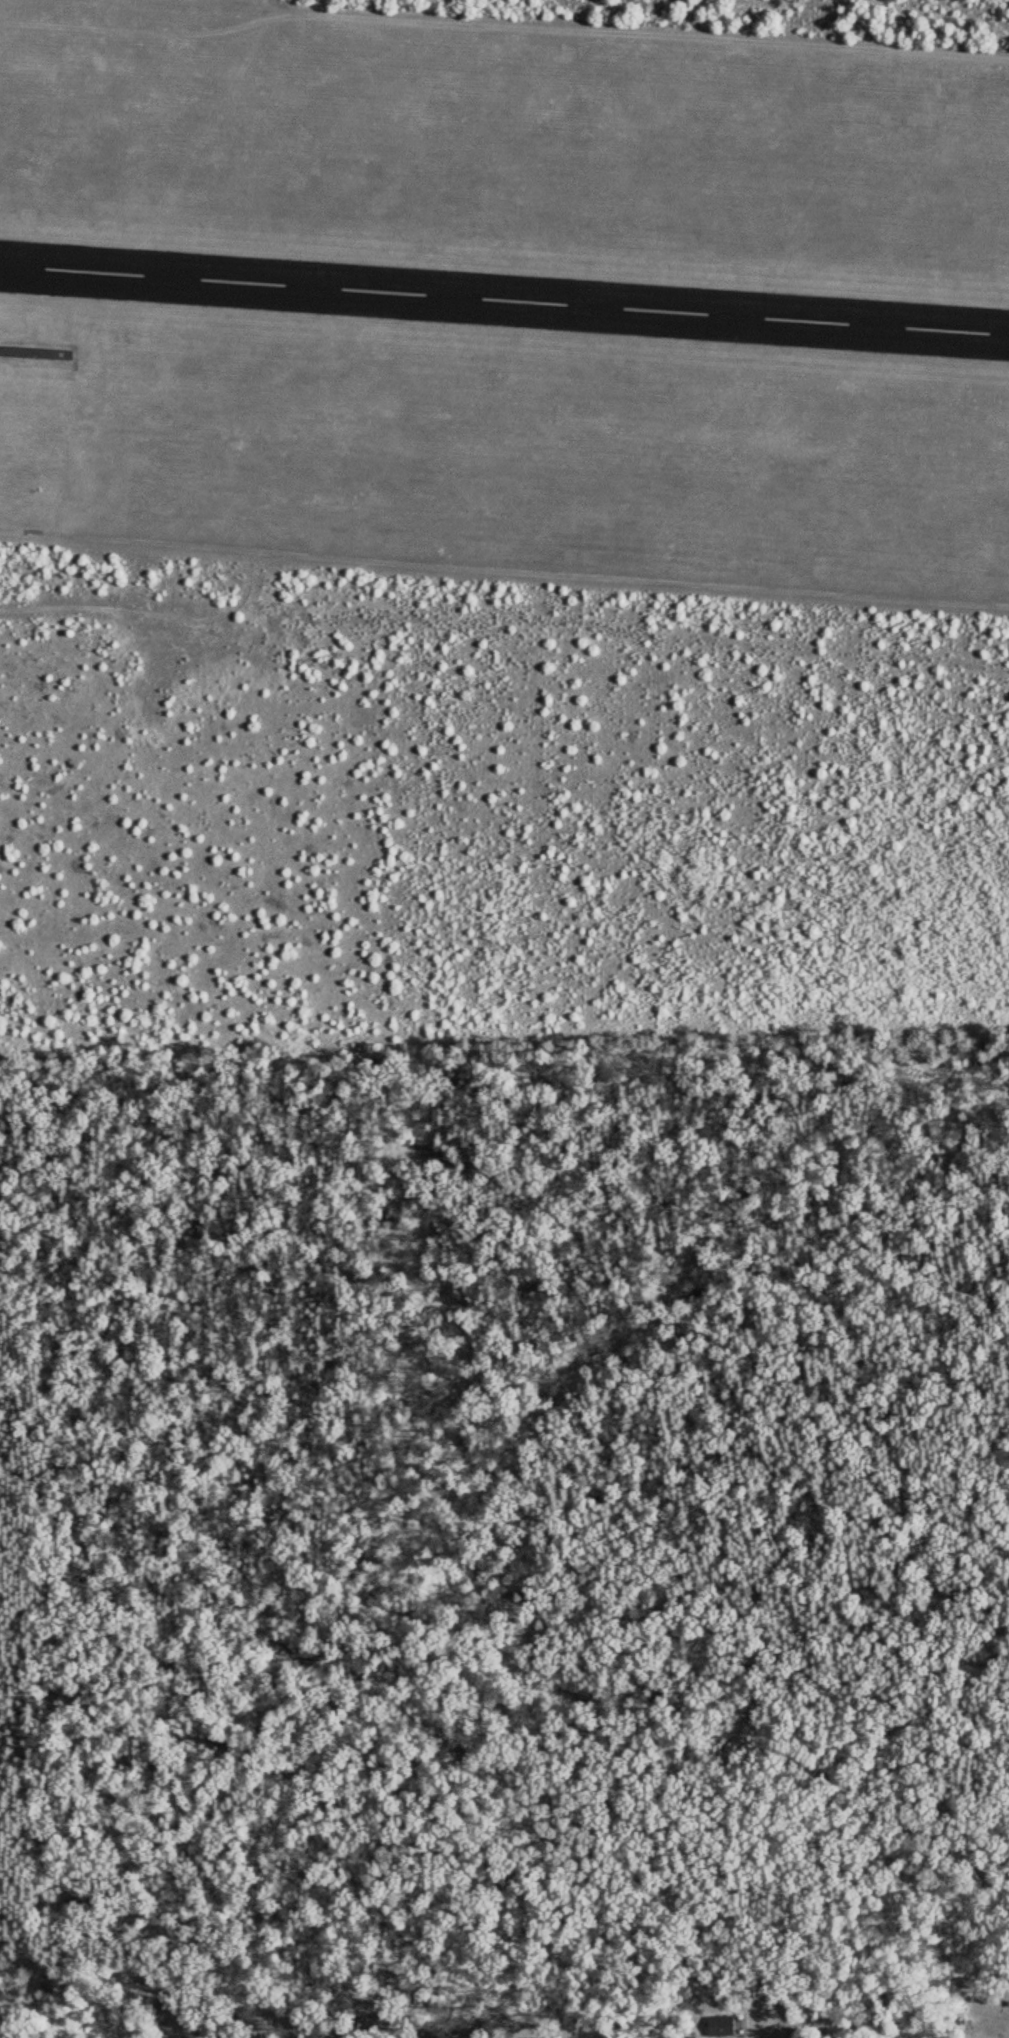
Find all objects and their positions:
road: (1007, 0)
airport runway: (504, 298)
airport: (502, 304)
road: (389, 1262)
road: (65, 1957)
road: (136, 1997)
road: (673, 2017)

